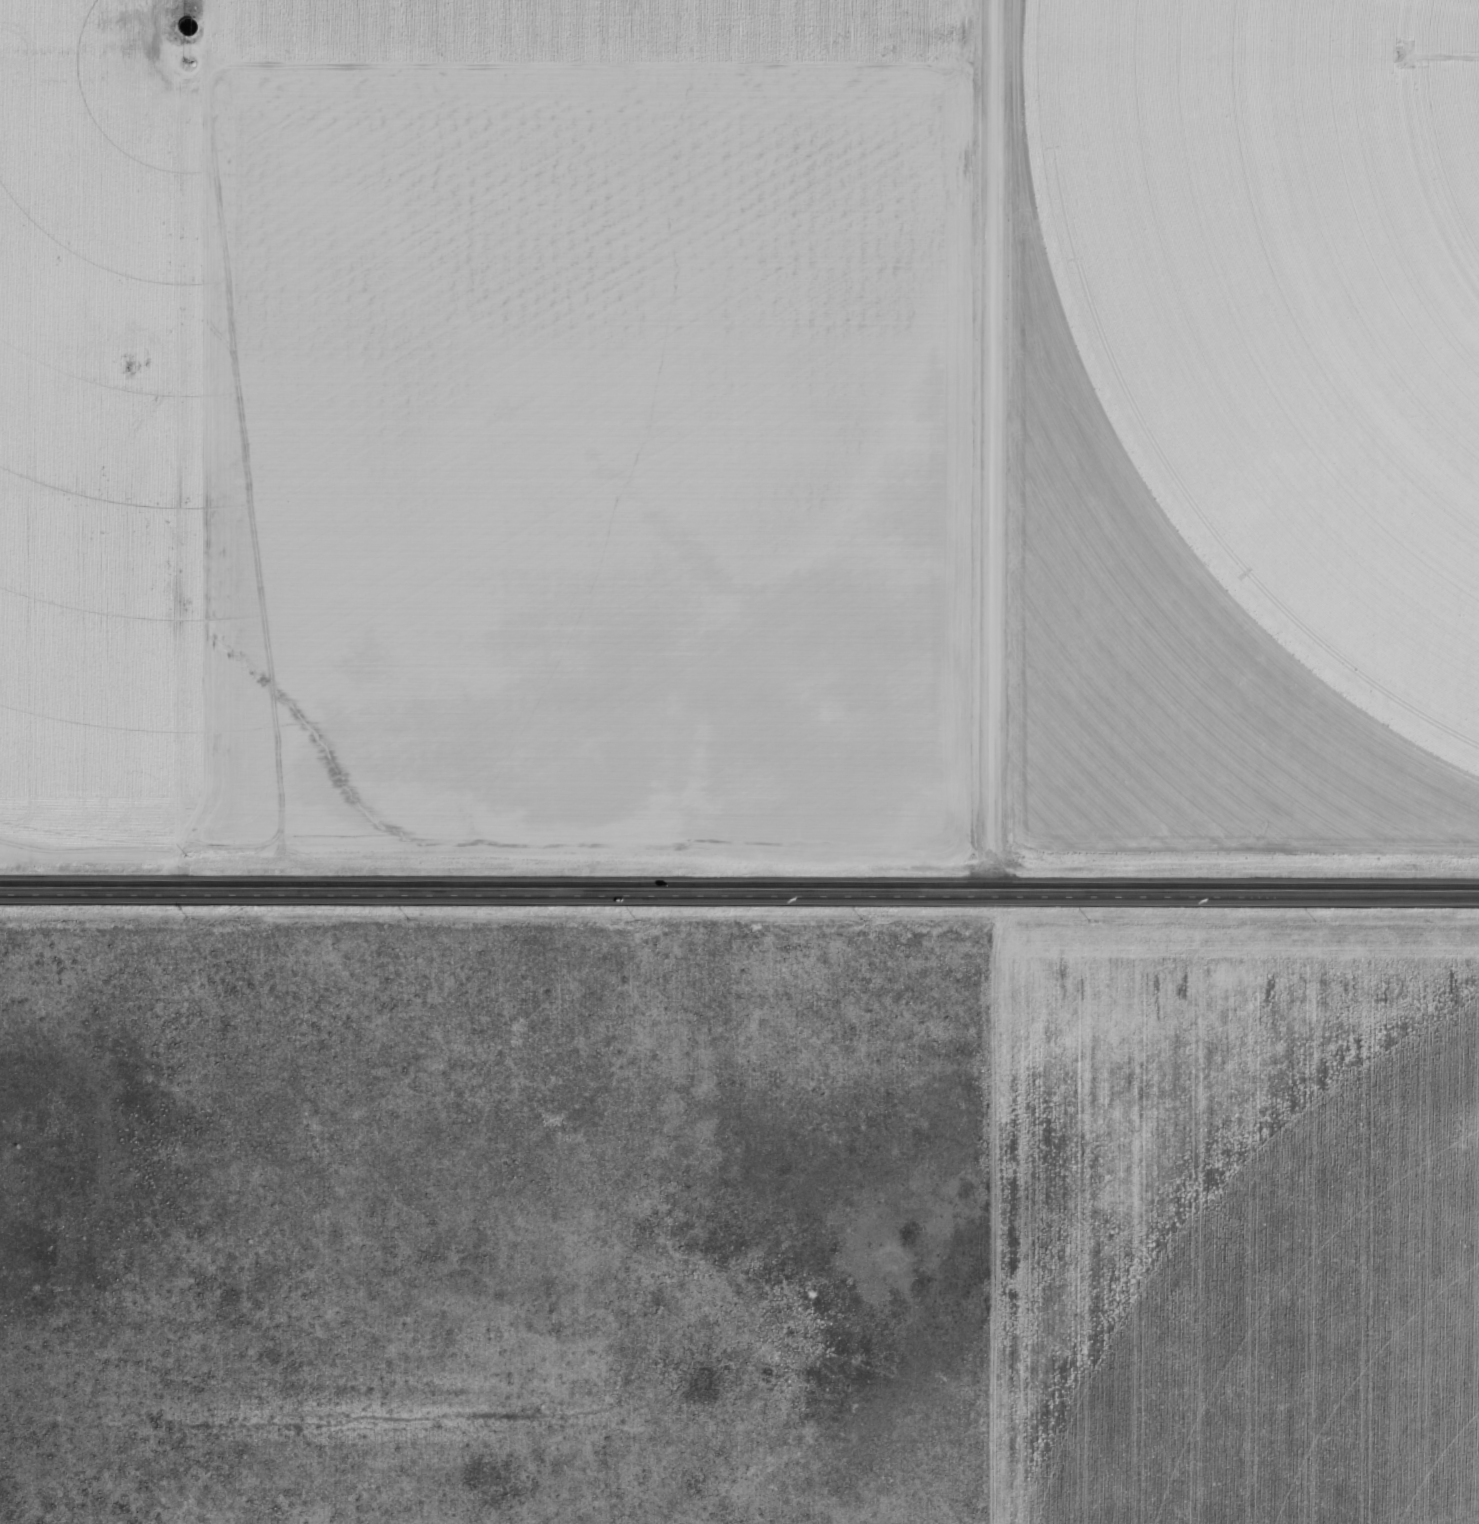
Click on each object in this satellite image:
road: (991, 446)
road: (739, 891)

